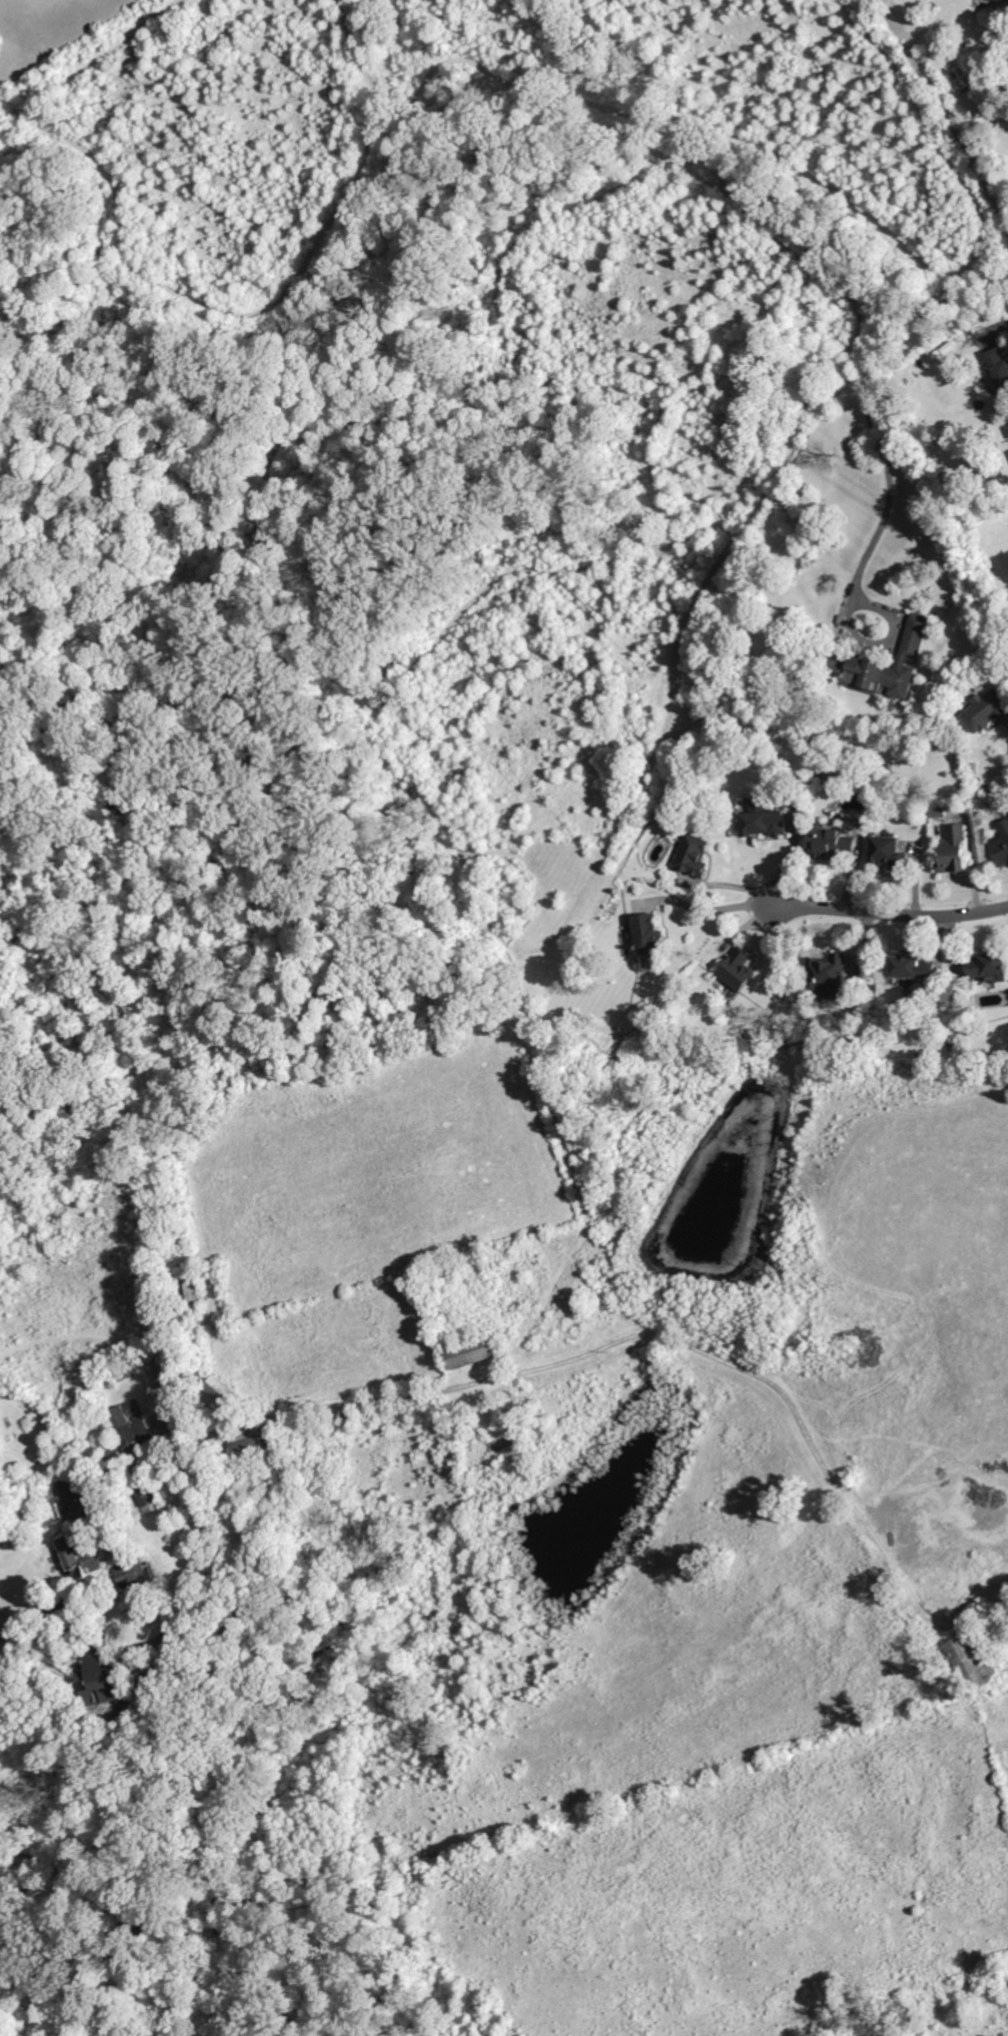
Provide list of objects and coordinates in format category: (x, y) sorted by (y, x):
road: (867, 401)
building: (1007, 425)
road: (885, 641)
road: (702, 909)
road: (889, 911)
building: (474, 1352)
building: (164, 1374)
building: (226, 1393)
road: (306, 1407)
building: (356, 1421)
building: (178, 1426)
building: (130, 1428)
building: (257, 1445)
building: (86, 1475)
building: (150, 1494)
building: (82, 1558)
building: (138, 1571)
building: (53, 1605)
road: (1001, 1612)
building: (73, 1621)
building: (974, 1661)
building: (141, 1666)
building: (106, 1683)
building: (10, 1895)

